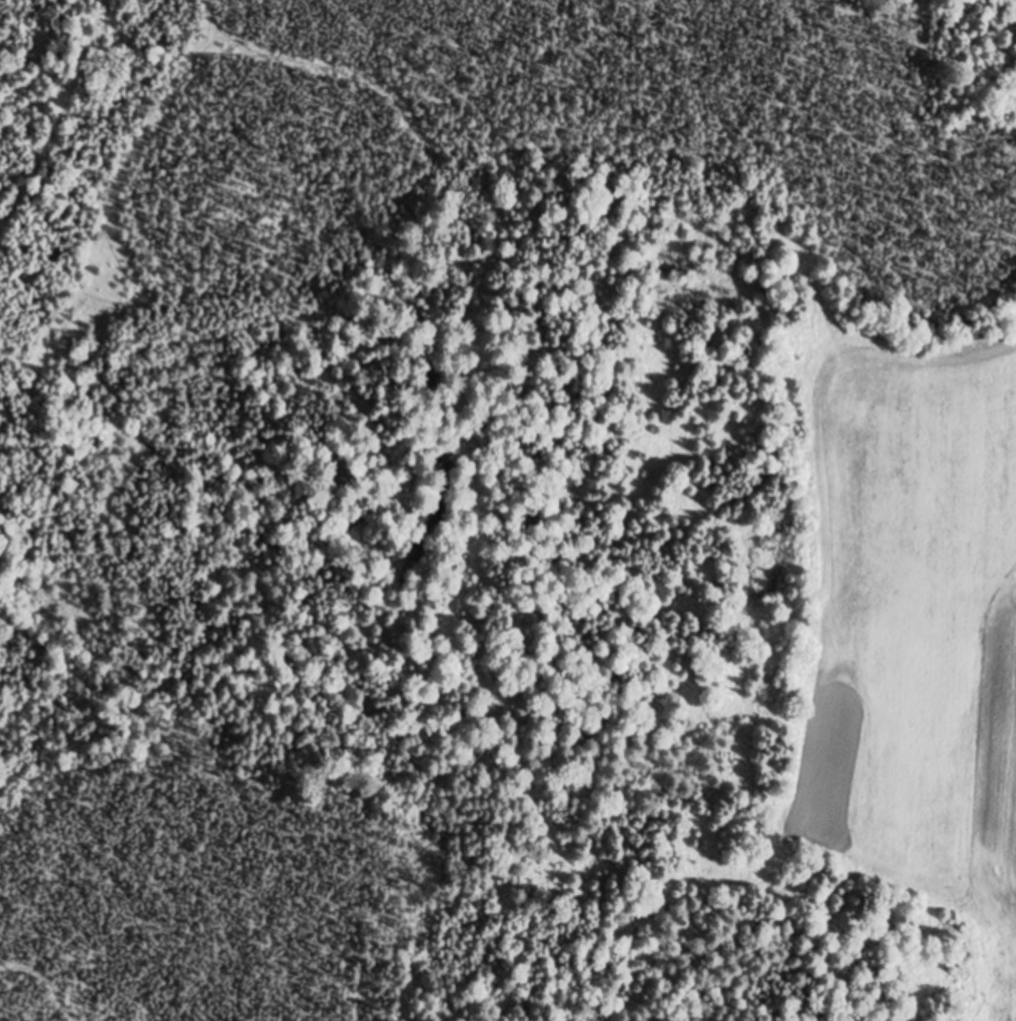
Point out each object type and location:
crop: (914, 636)

